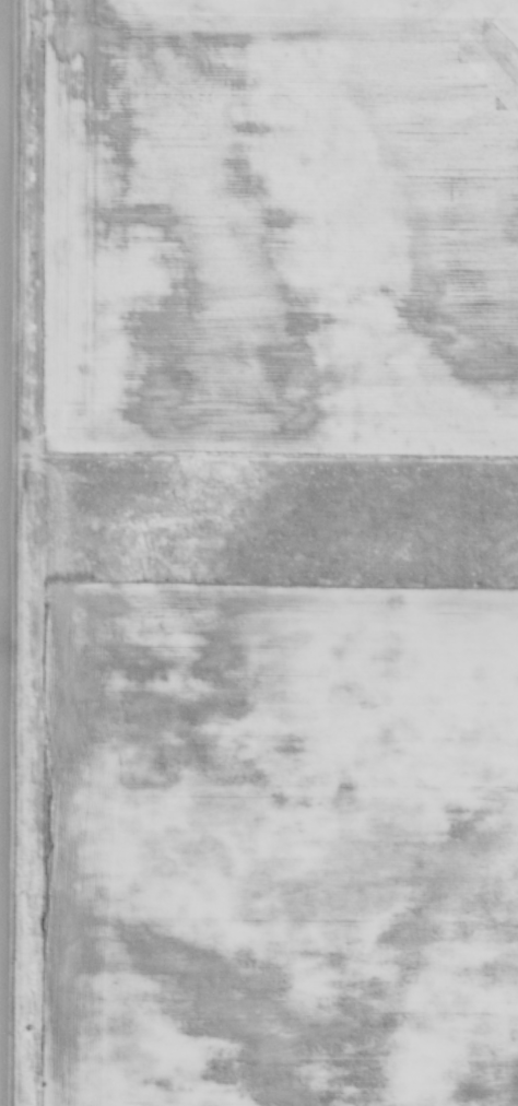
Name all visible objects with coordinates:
road: (3, 553)

